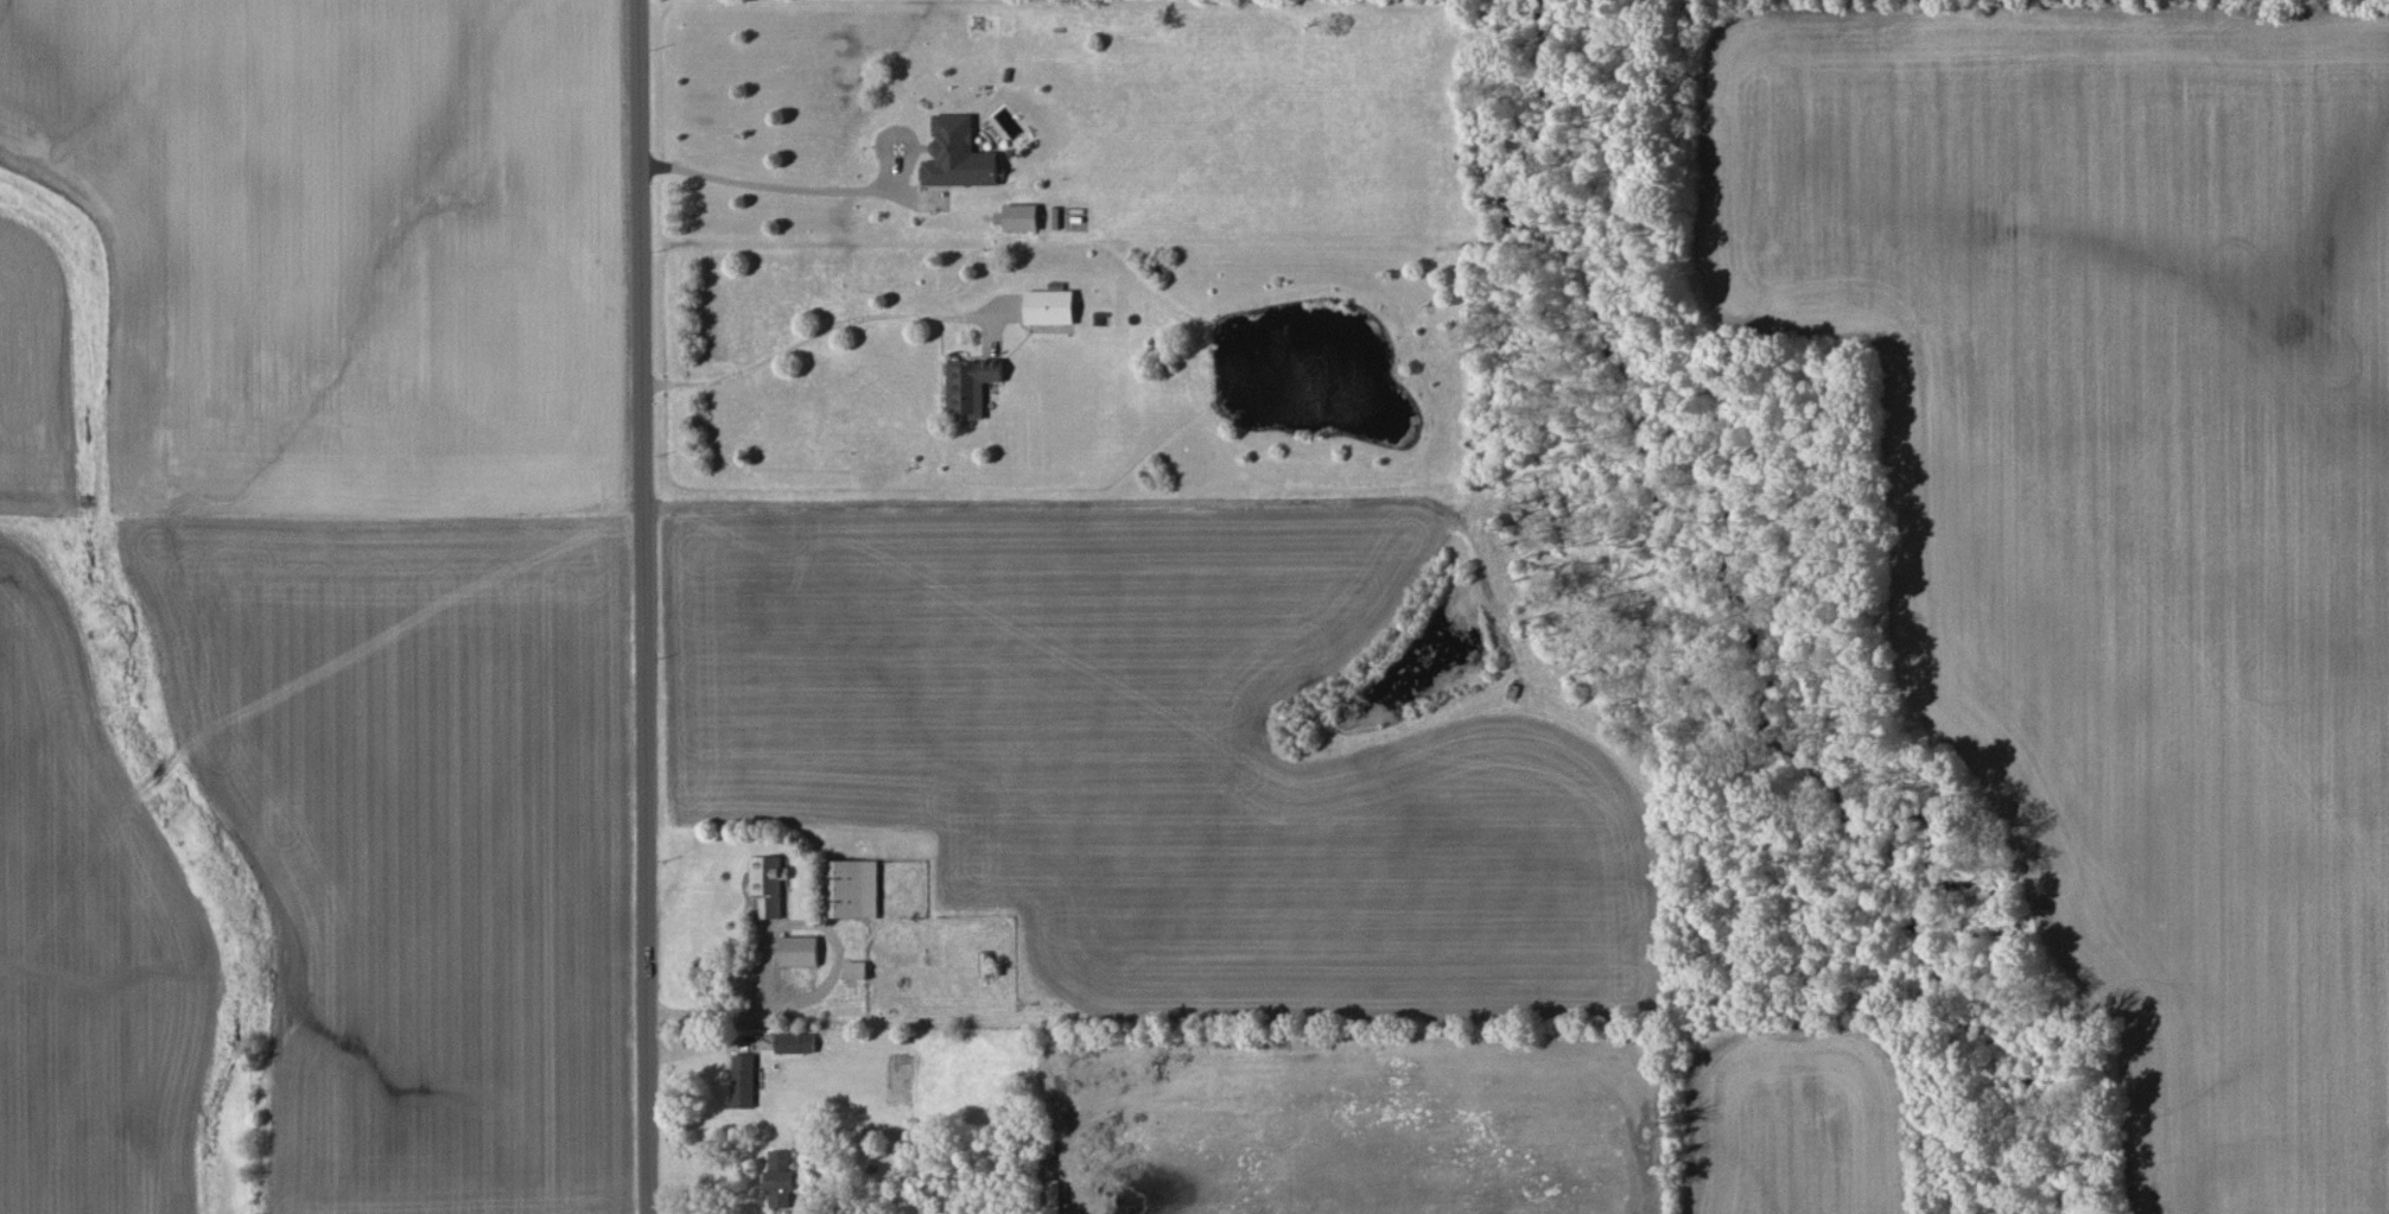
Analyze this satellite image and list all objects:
building: (957, 154)
road: (769, 185)
building: (1019, 217)
building: (1048, 306)
road: (793, 347)
building: (968, 386)
road: (642, 606)
building: (767, 883)
building: (851, 888)
road: (769, 933)
building: (799, 951)
building: (854, 970)
building: (794, 1043)
building: (742, 1080)
road: (2258, 1125)
building: (779, 1178)

